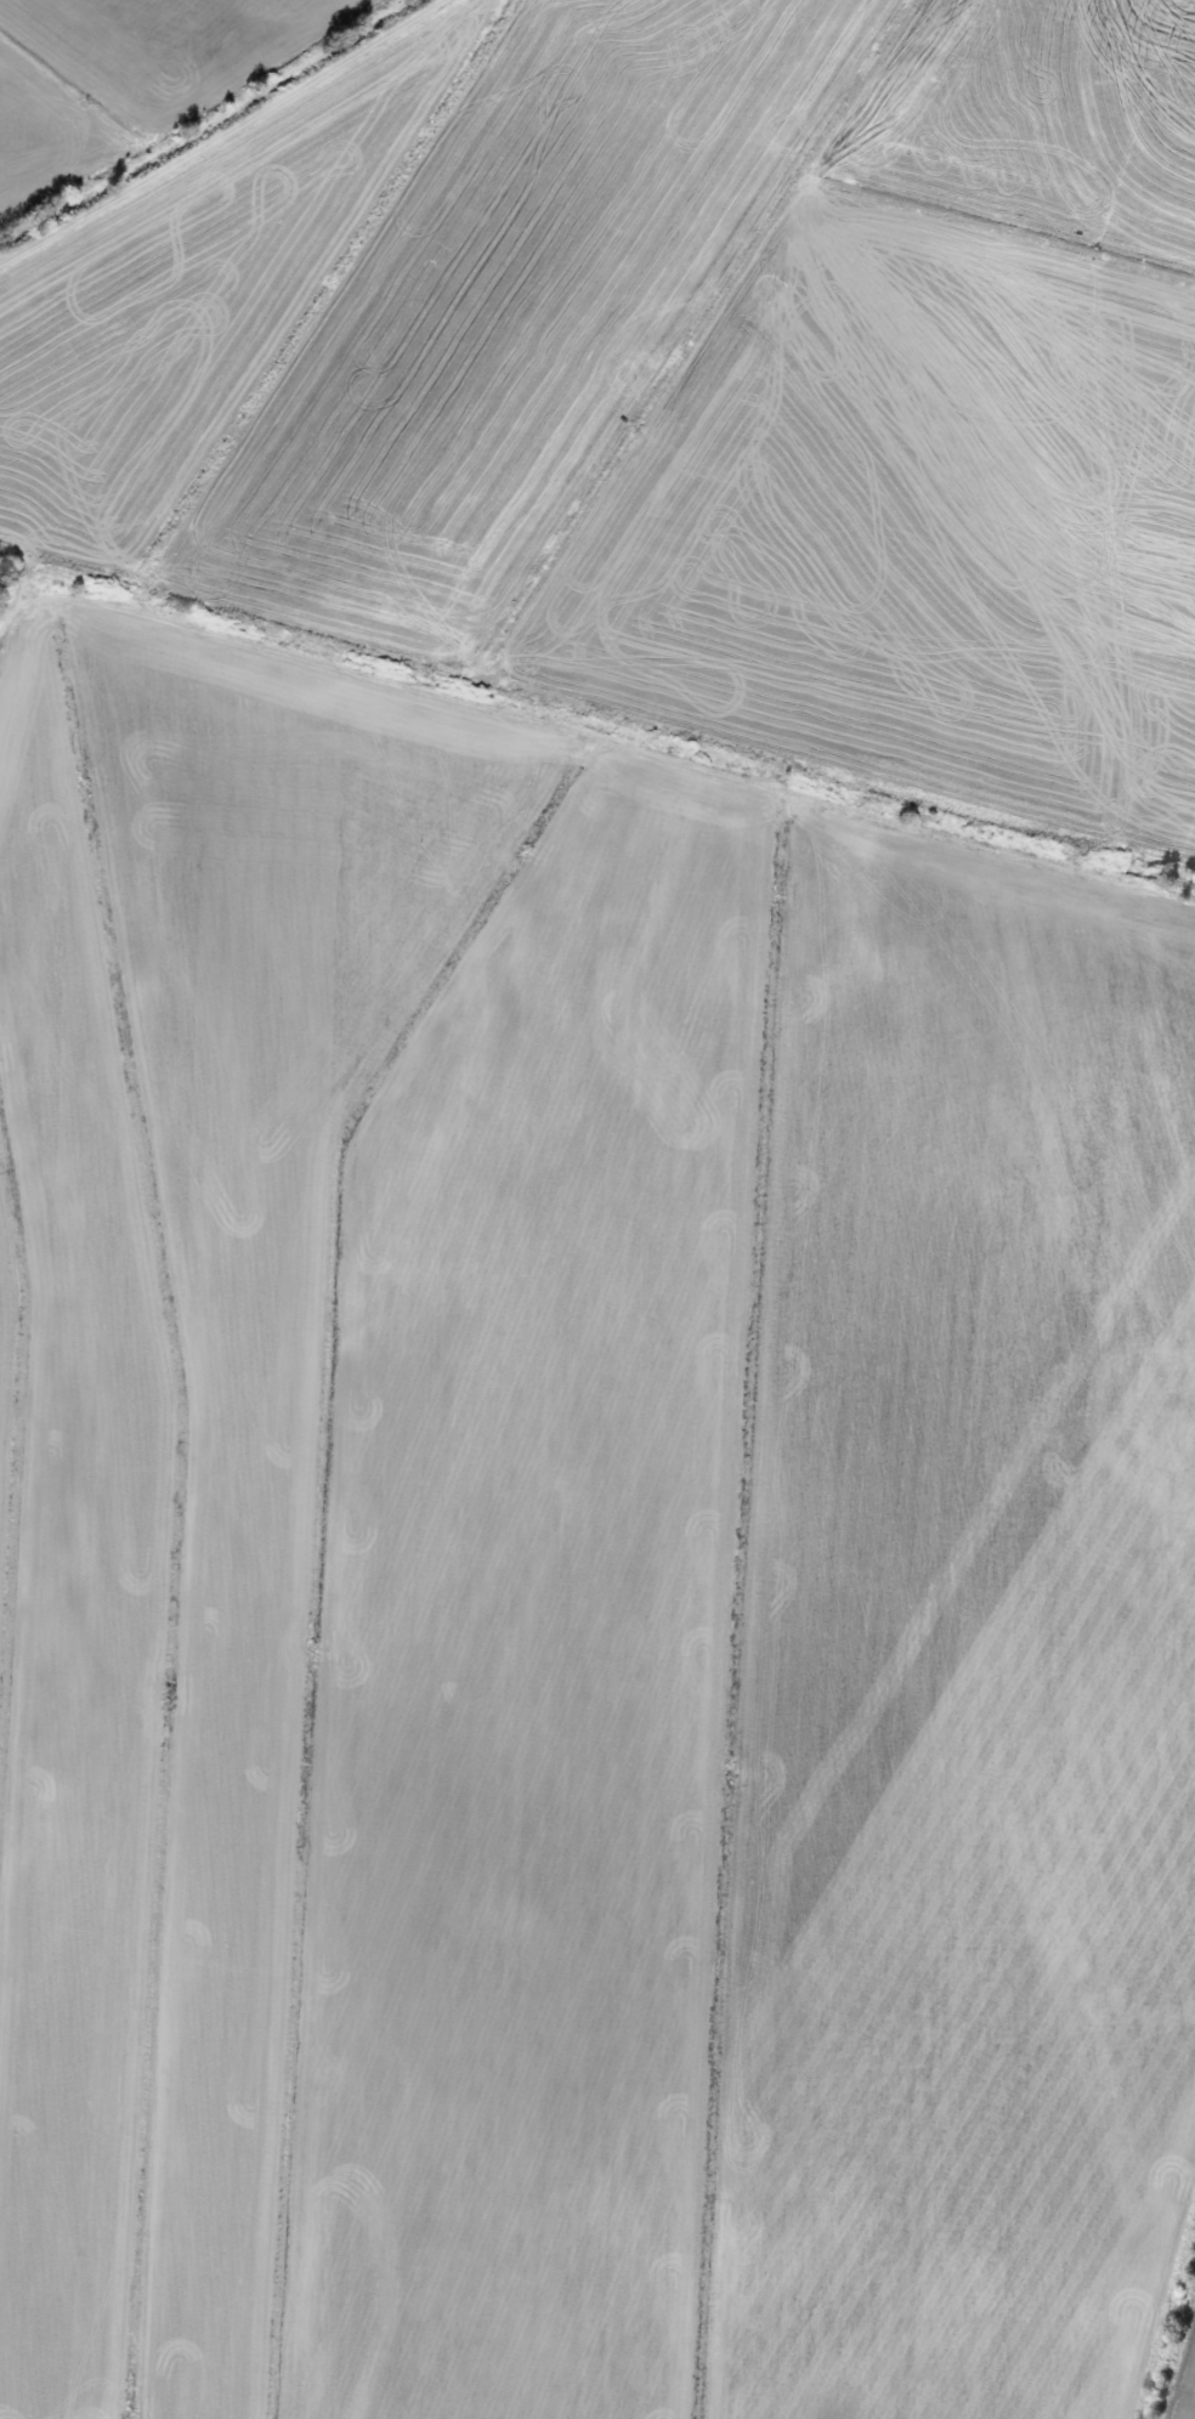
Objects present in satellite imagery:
road: (220, 135)

